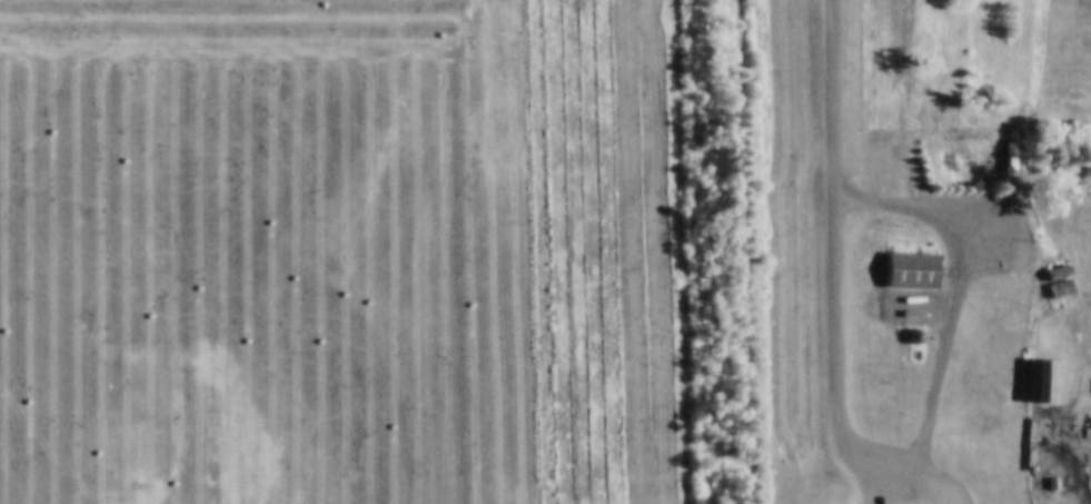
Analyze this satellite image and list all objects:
road: (907, 130)
building: (993, 135)
building: (914, 258)
building: (1062, 270)
building: (920, 296)
building: (1050, 370)
building: (920, 503)

